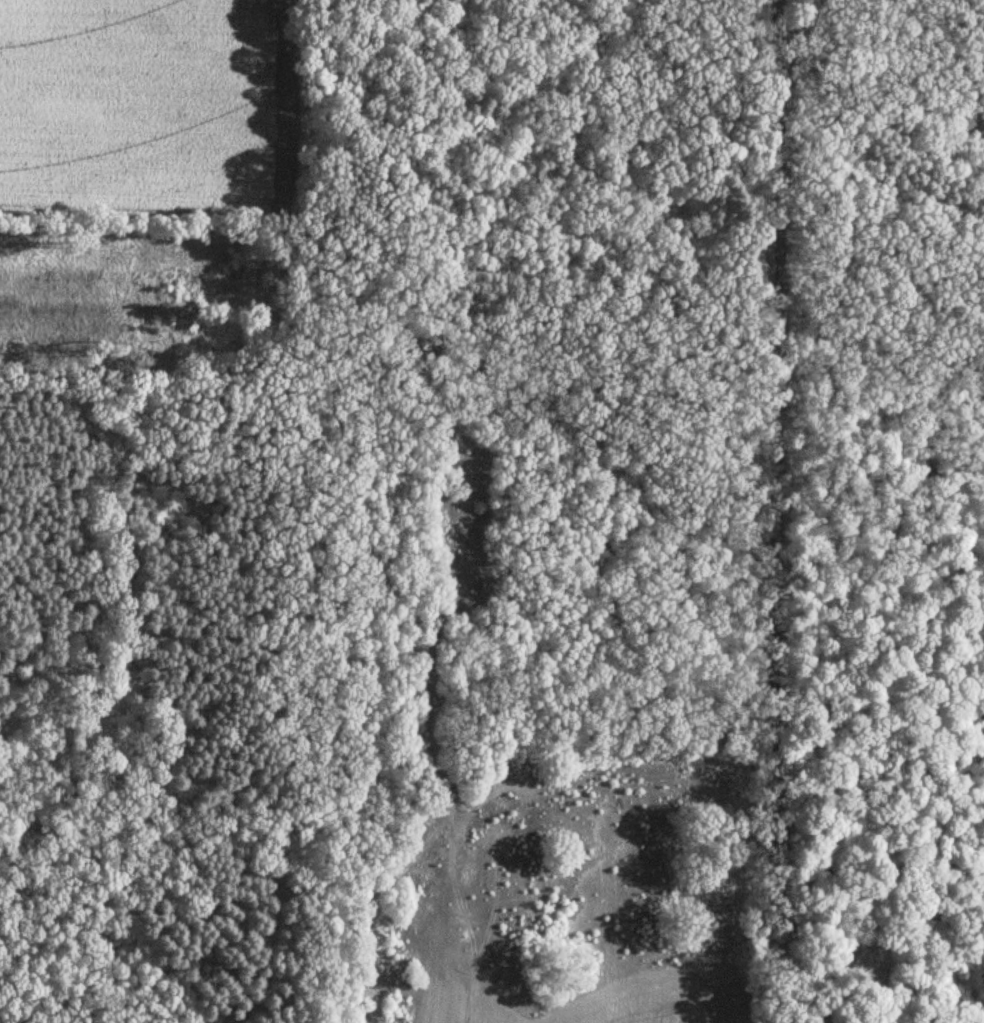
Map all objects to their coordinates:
road: (774, 511)

